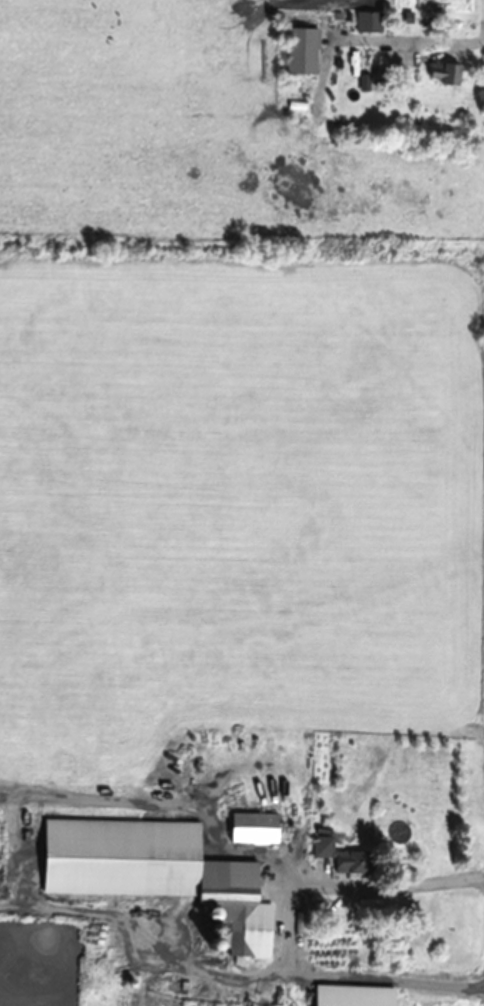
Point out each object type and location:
building: (302, 52)
building: (445, 74)
building: (255, 828)
building: (344, 856)
building: (154, 870)
building: (354, 996)

